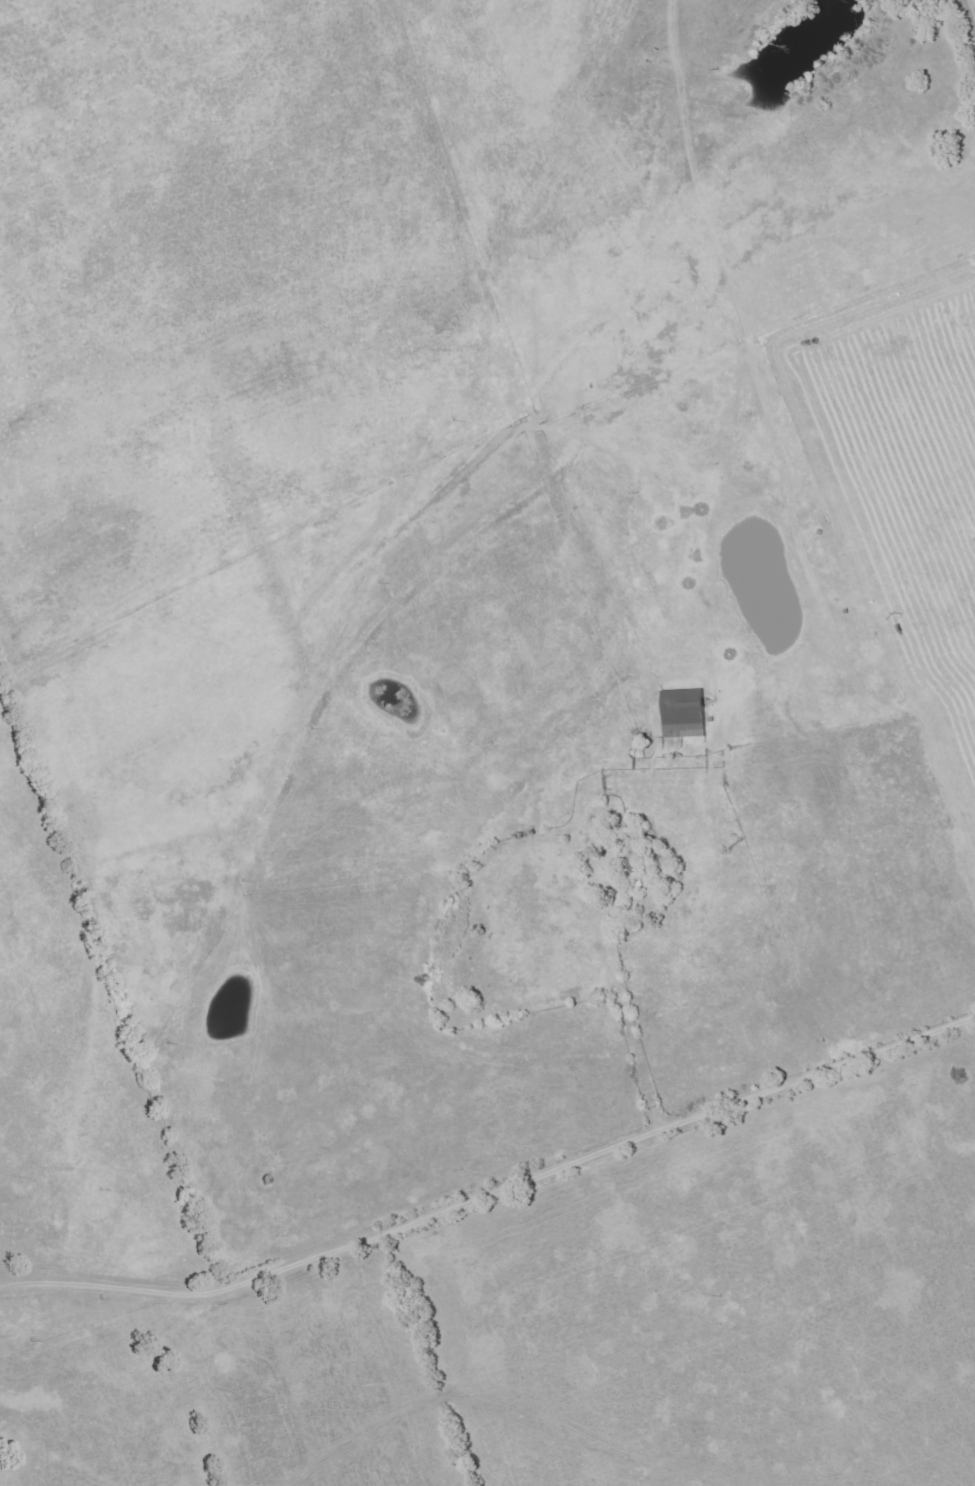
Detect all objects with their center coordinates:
road: (966, 21)
building: (683, 712)

